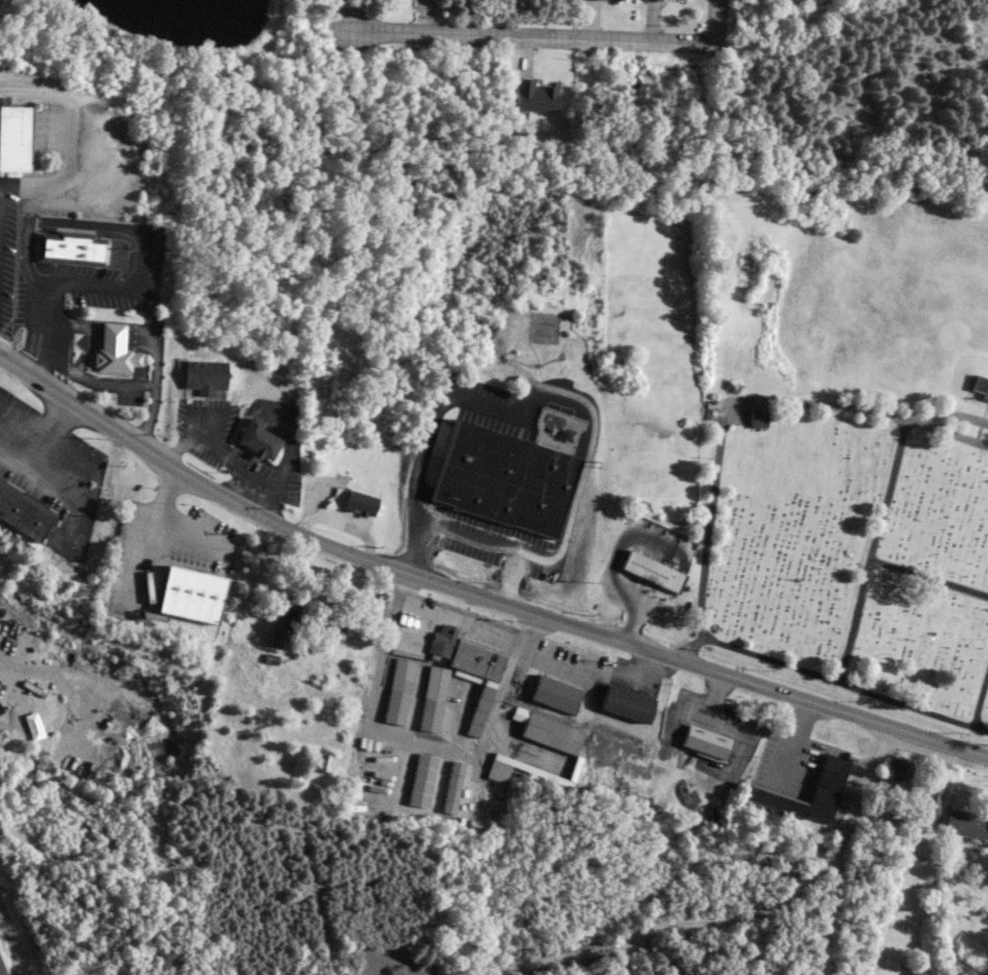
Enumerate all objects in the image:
building: (606, 0)
road: (710, 21)
road: (530, 35)
building: (534, 97)
building: (13, 137)
parking lot: (8, 246)
building: (70, 247)
building: (113, 350)
building: (320, 372)
building: (979, 386)
road: (573, 398)
road: (859, 409)
building: (757, 417)
building: (256, 438)
park: (843, 442)
road: (222, 455)
building: (503, 478)
road: (890, 493)
building: (23, 510)
road: (710, 532)
road: (871, 561)
building: (652, 570)
building: (189, 594)
road: (476, 595)
building: (283, 622)
building: (469, 669)
road: (592, 672)
road: (843, 680)
building: (398, 690)
building: (554, 693)
building: (432, 698)
building: (626, 703)
road: (982, 705)
building: (547, 730)
road: (420, 739)
building: (705, 740)
building: (319, 760)
building: (898, 768)
building: (497, 770)
building: (420, 779)
building: (451, 786)
building: (762, 792)
building: (931, 799)
building: (892, 812)
building: (966, 825)
road: (789, 898)

